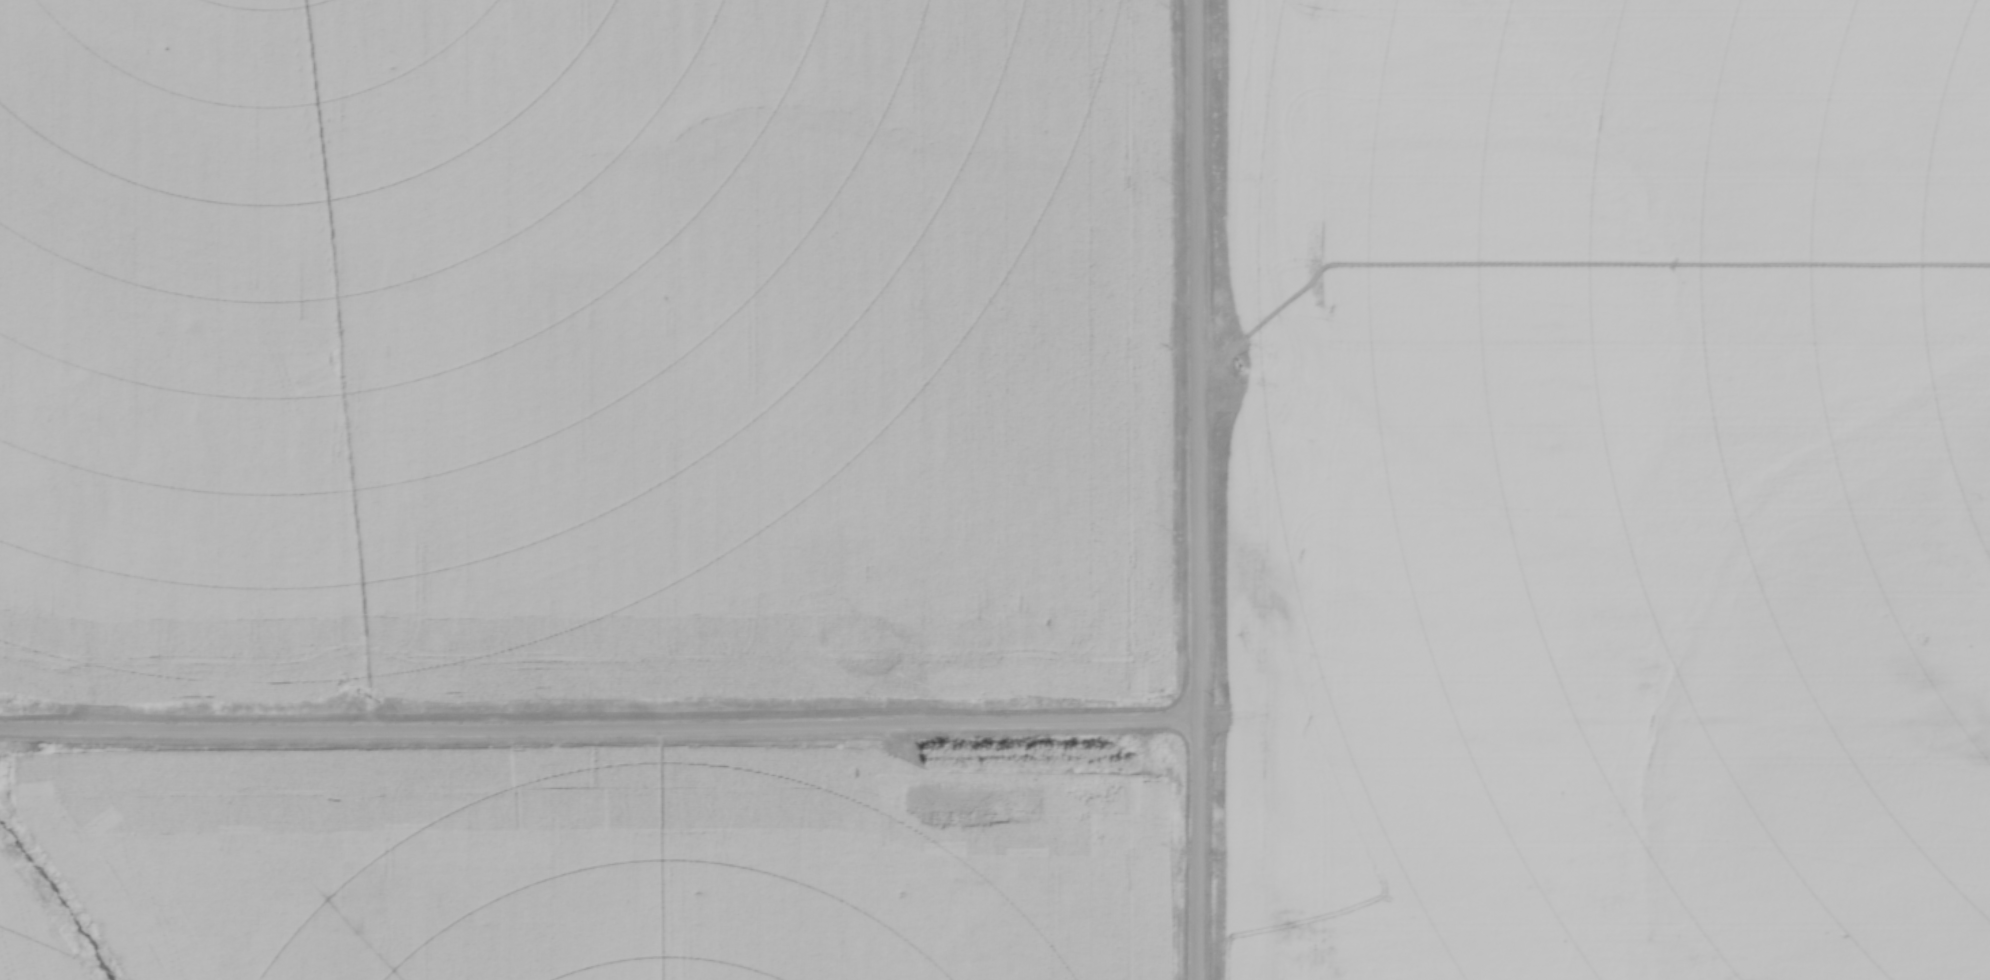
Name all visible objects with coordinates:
road: (1197, 490)
road: (598, 728)

